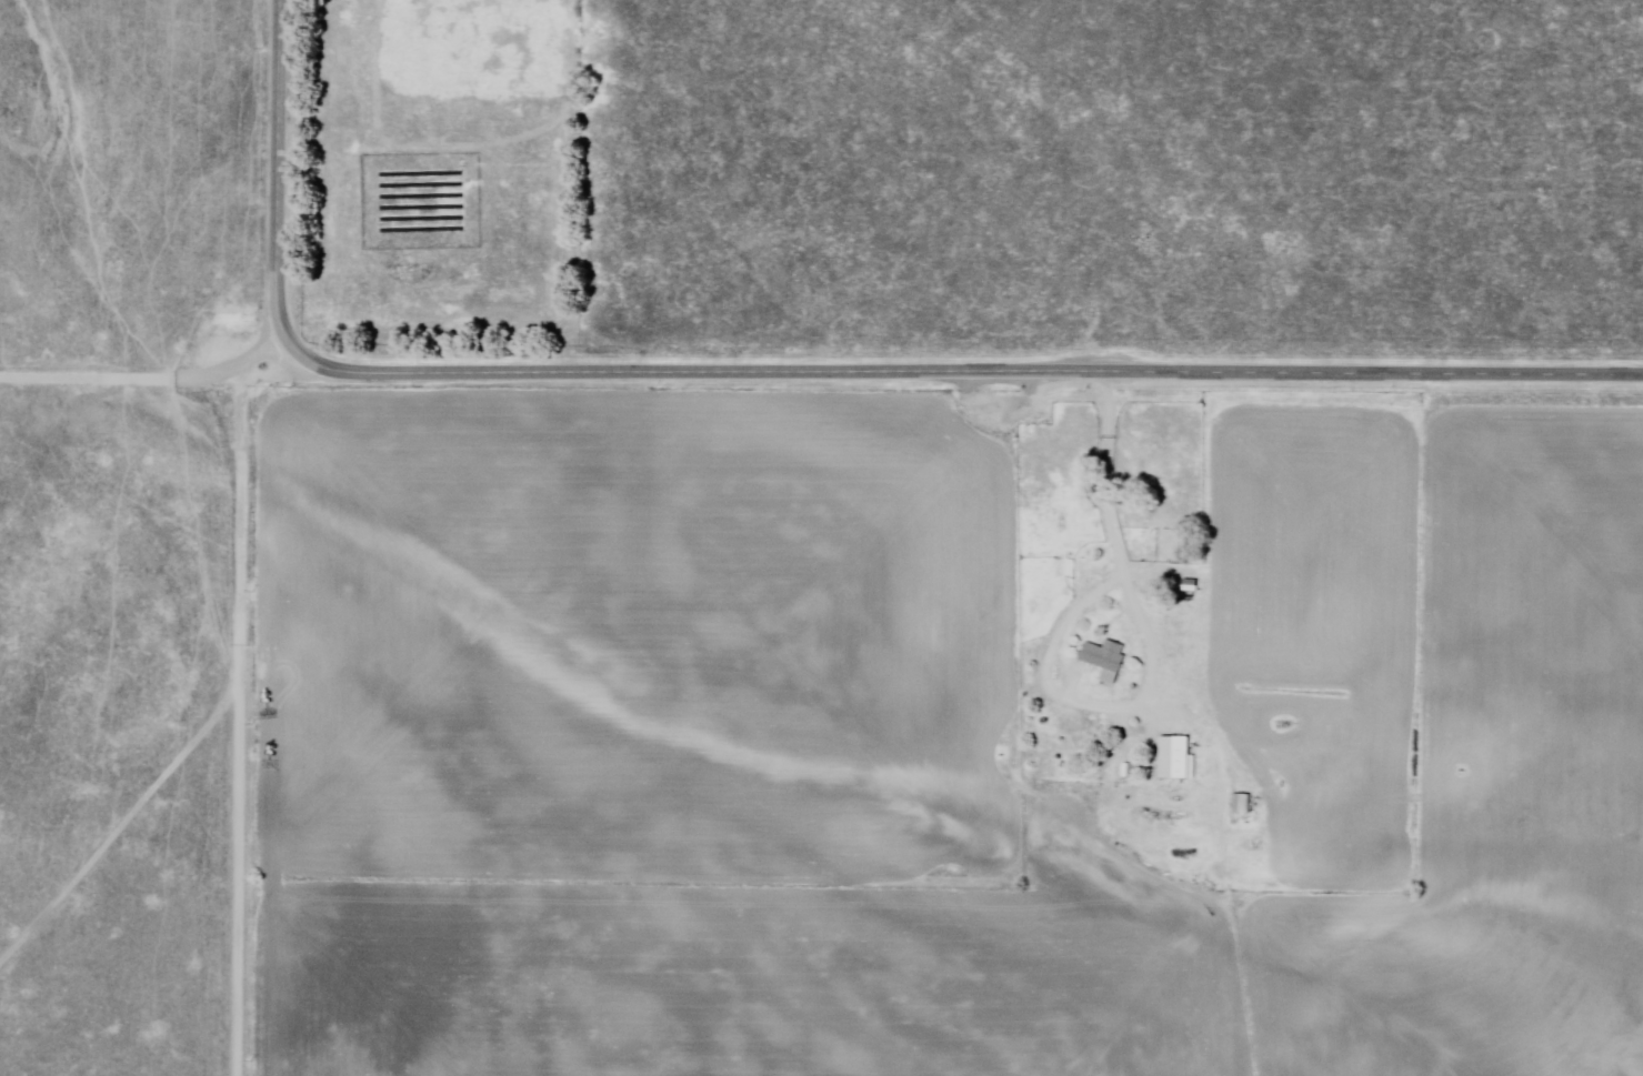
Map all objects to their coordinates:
park: (473, 48)
building: (230, 316)
storage tank: (231, 320)
road: (785, 375)
road: (121, 378)
road: (239, 504)
storage tank: (1099, 555)
building: (1189, 585)
building: (1105, 661)
road: (1153, 662)
building: (1174, 761)
building: (1241, 806)
road: (122, 831)
road: (1226, 867)
road: (236, 883)

